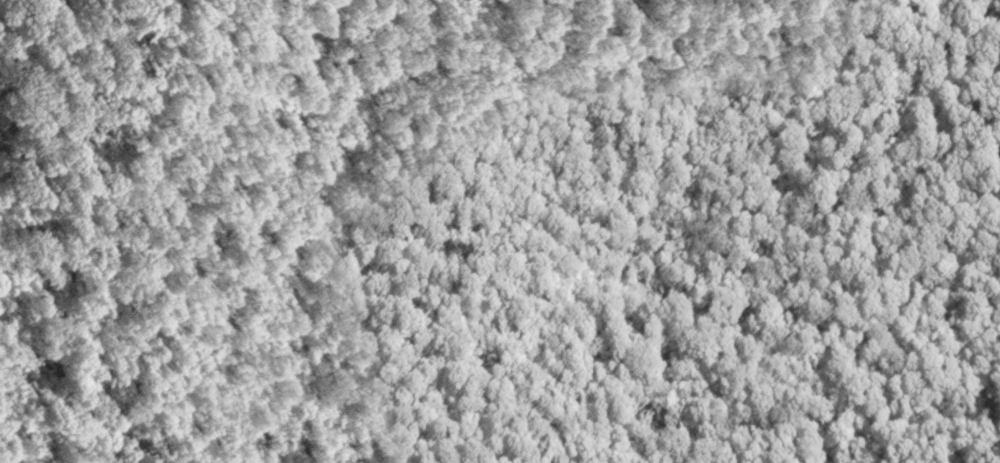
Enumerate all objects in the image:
road: (2, 6)

